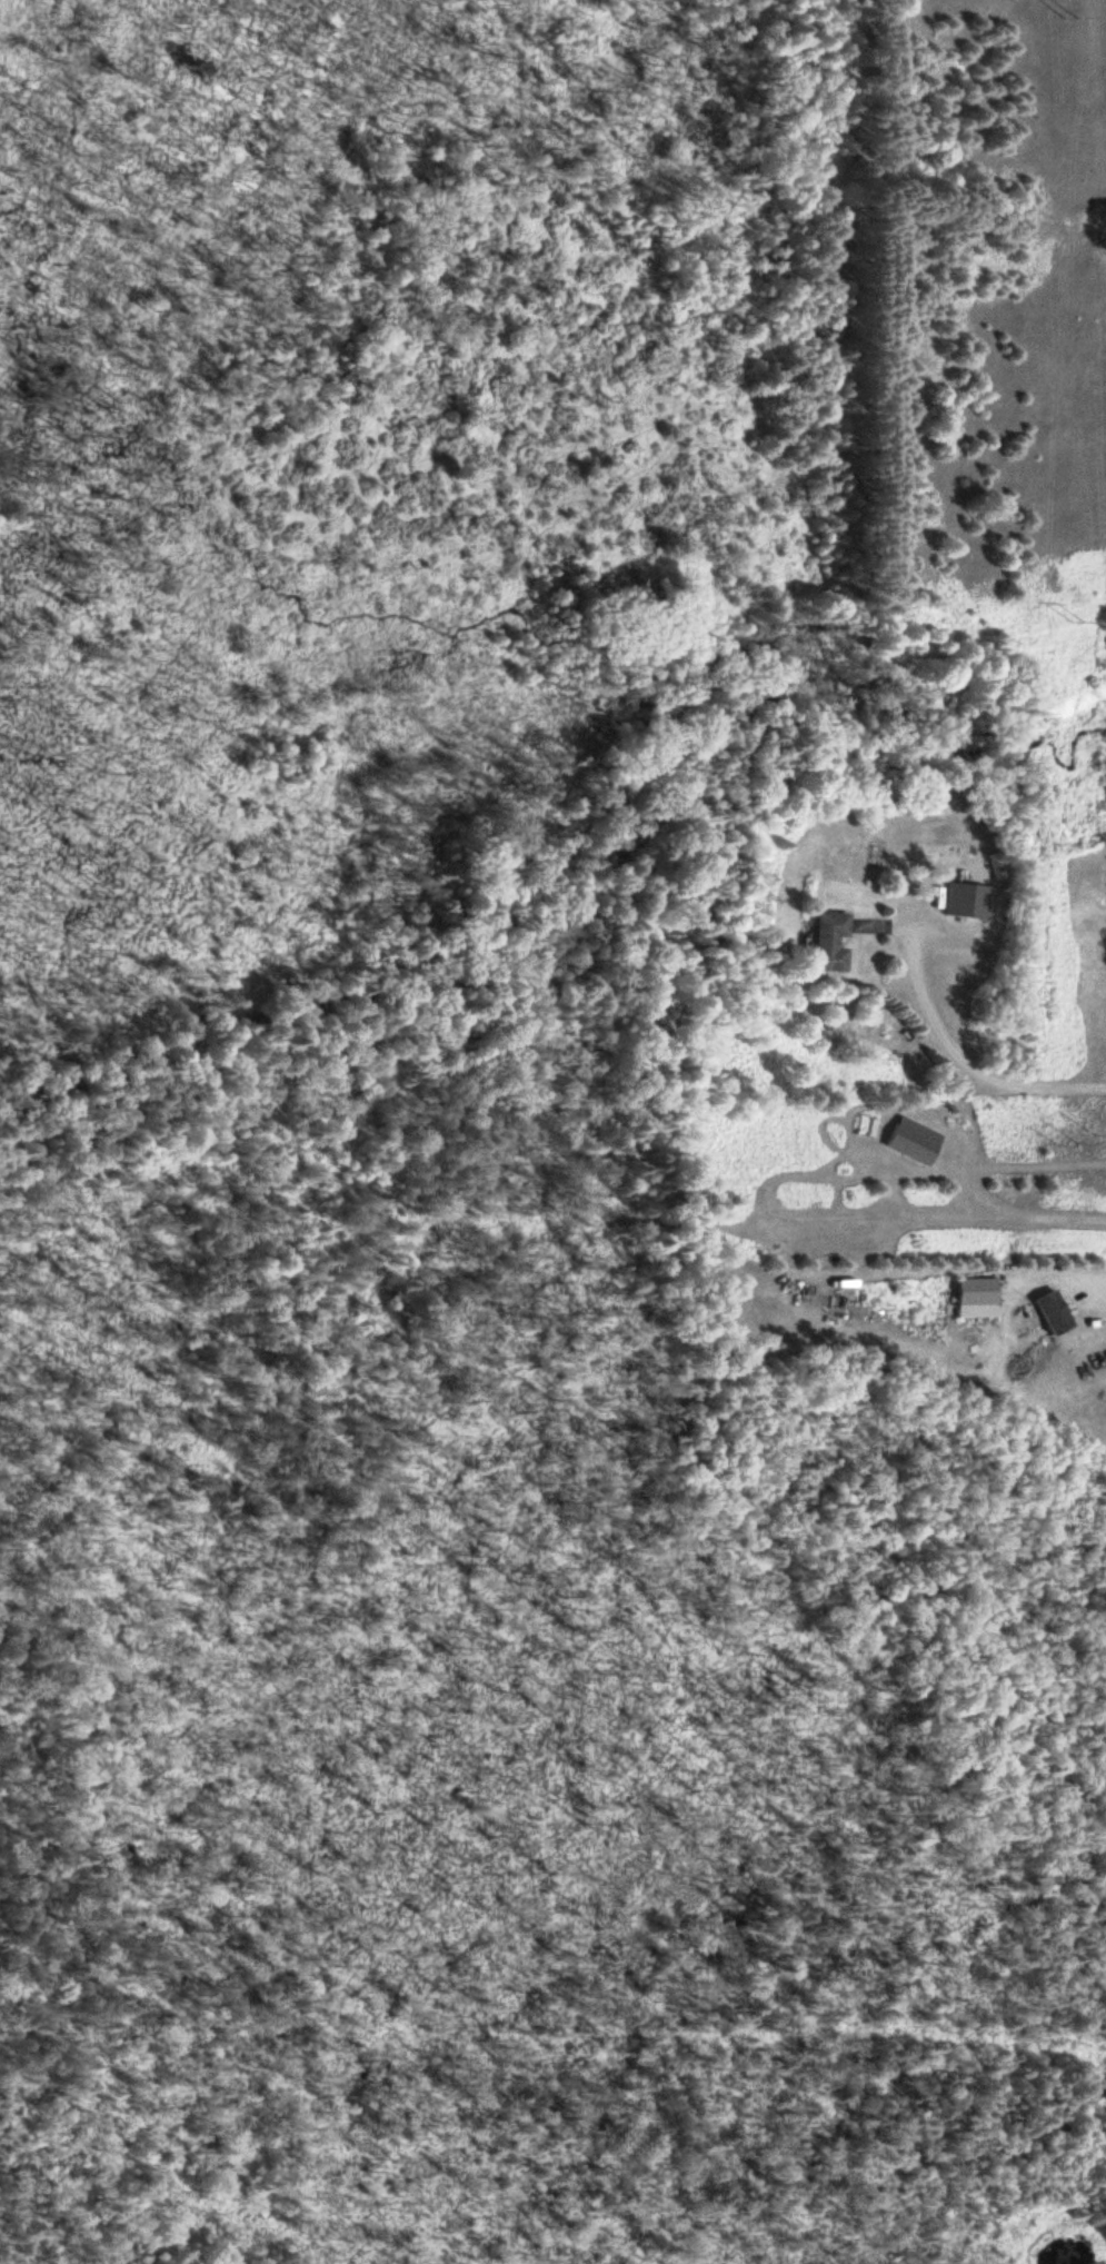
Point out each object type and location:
building: (960, 902)
building: (819, 943)
road: (944, 1055)
building: (904, 1141)
building: (966, 1299)
building: (1044, 1312)

